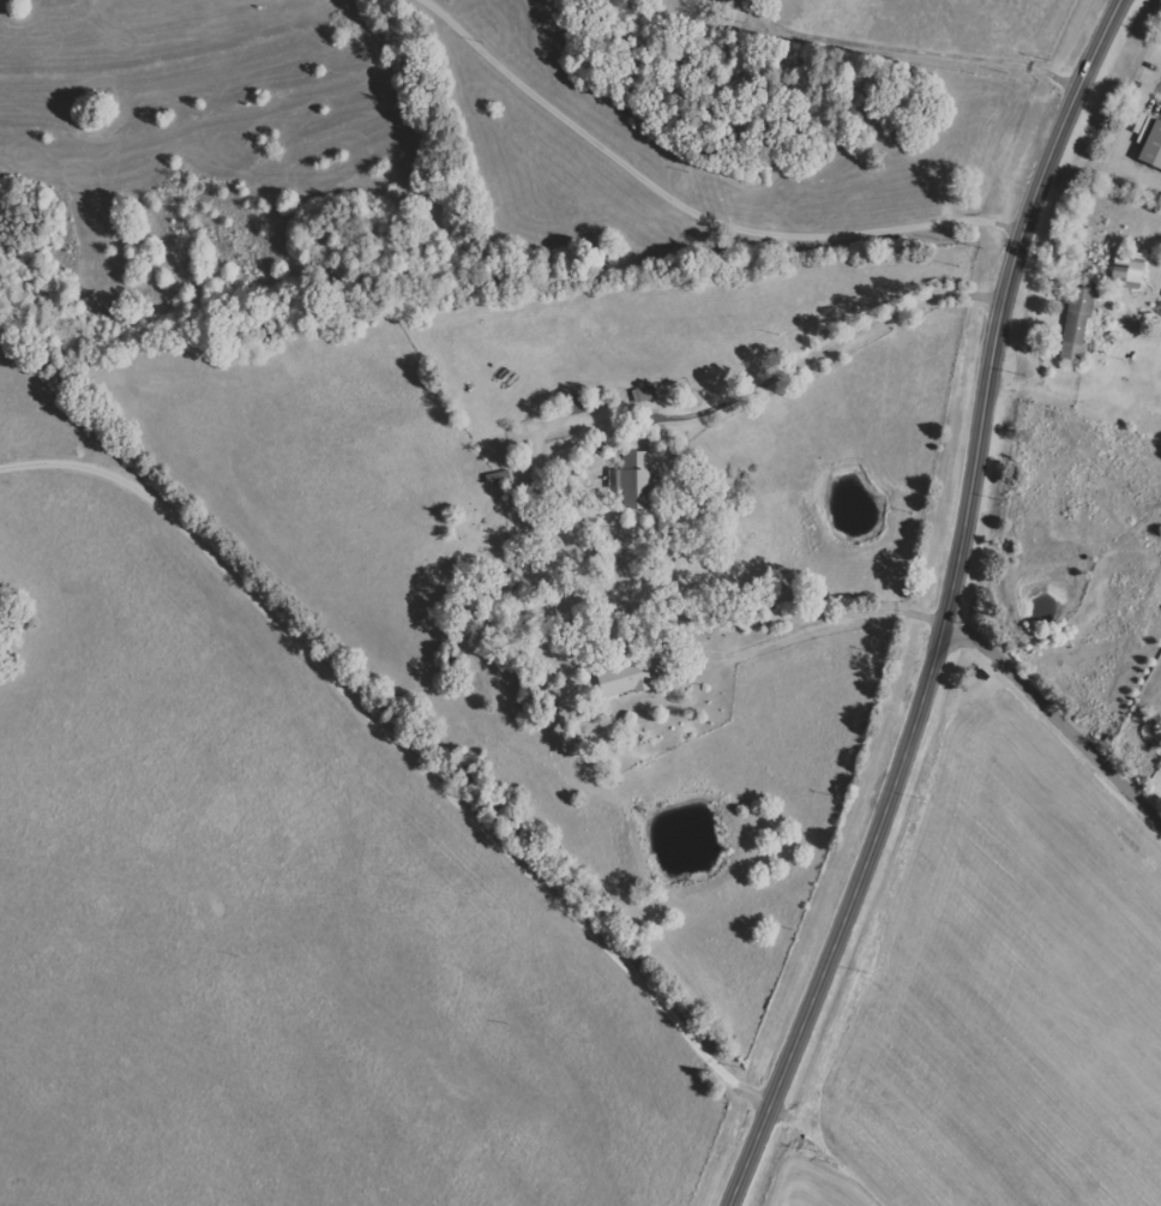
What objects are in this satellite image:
road: (920, 43)
road: (1159, 84)
building: (1153, 148)
road: (698, 208)
building: (1078, 323)
road: (823, 349)
building: (646, 394)
building: (577, 406)
building: (638, 480)
road: (828, 608)
road: (957, 610)
building: (625, 678)
road: (1058, 726)
road: (397, 772)

